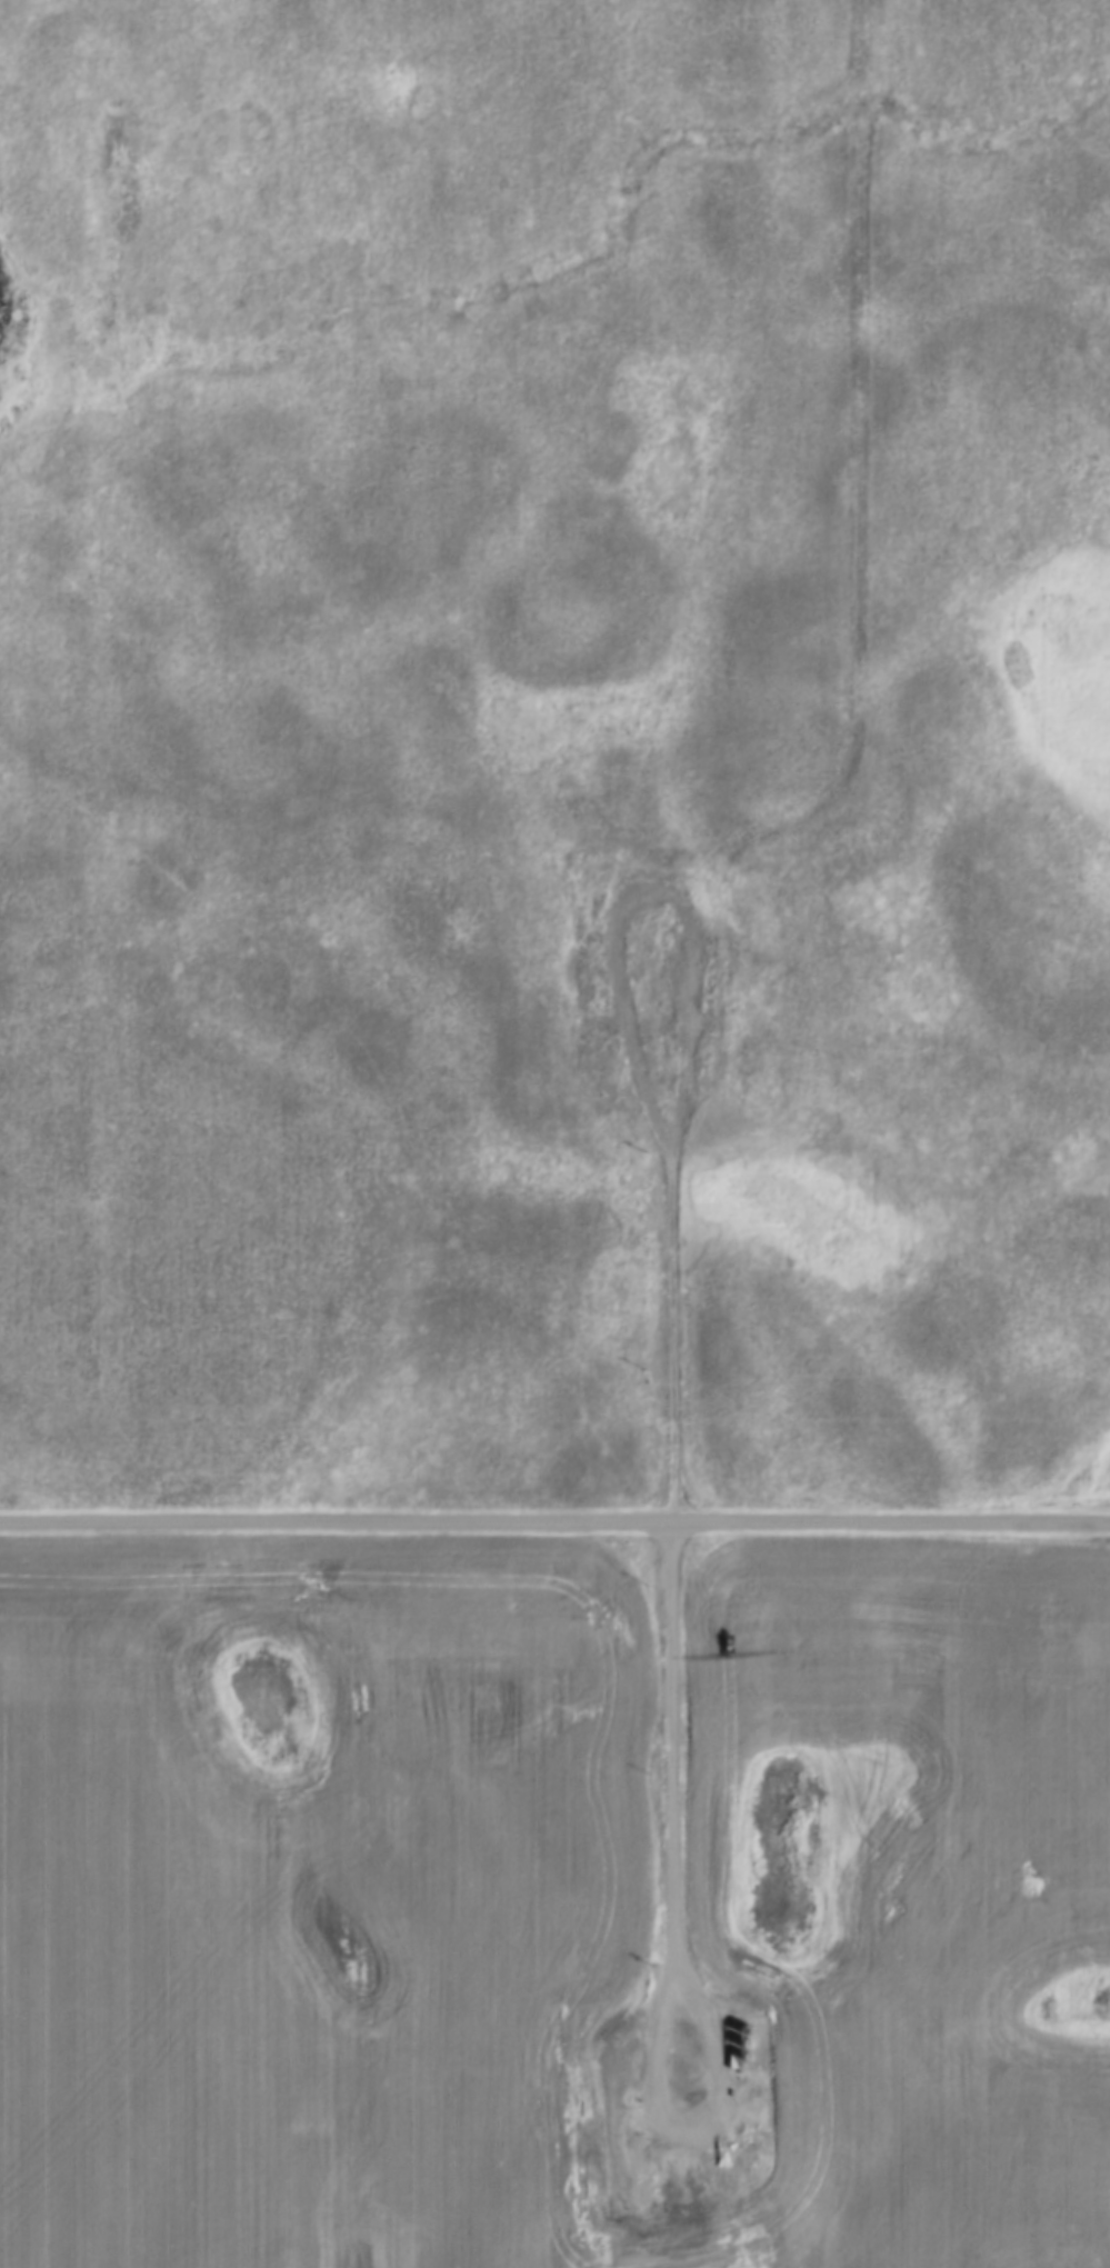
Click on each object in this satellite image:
road: (857, 509)
road: (631, 1063)
road: (554, 1526)
road: (669, 1824)
building: (734, 2061)
building: (744, 2140)

